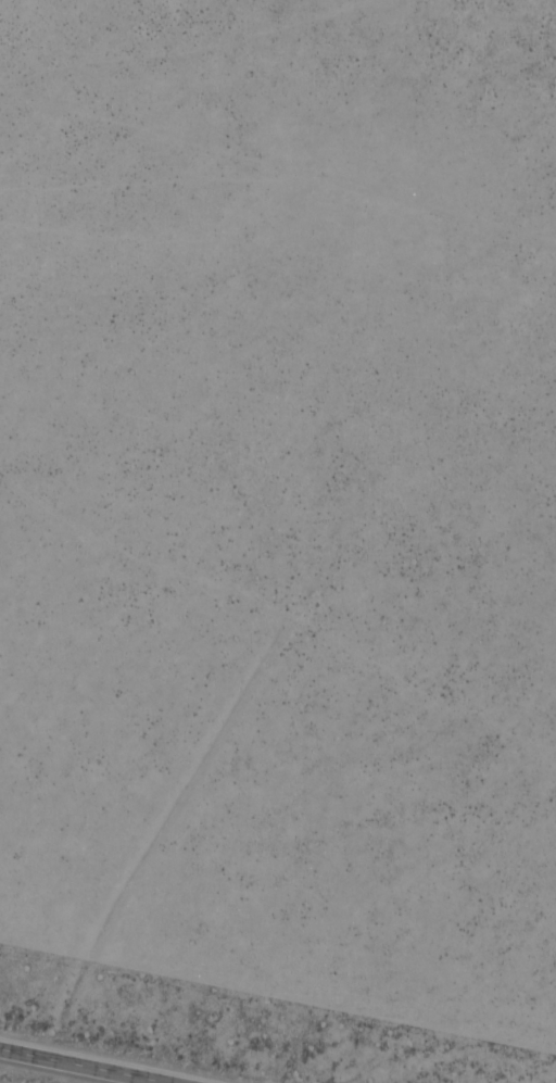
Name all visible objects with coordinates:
road: (80, 1066)

